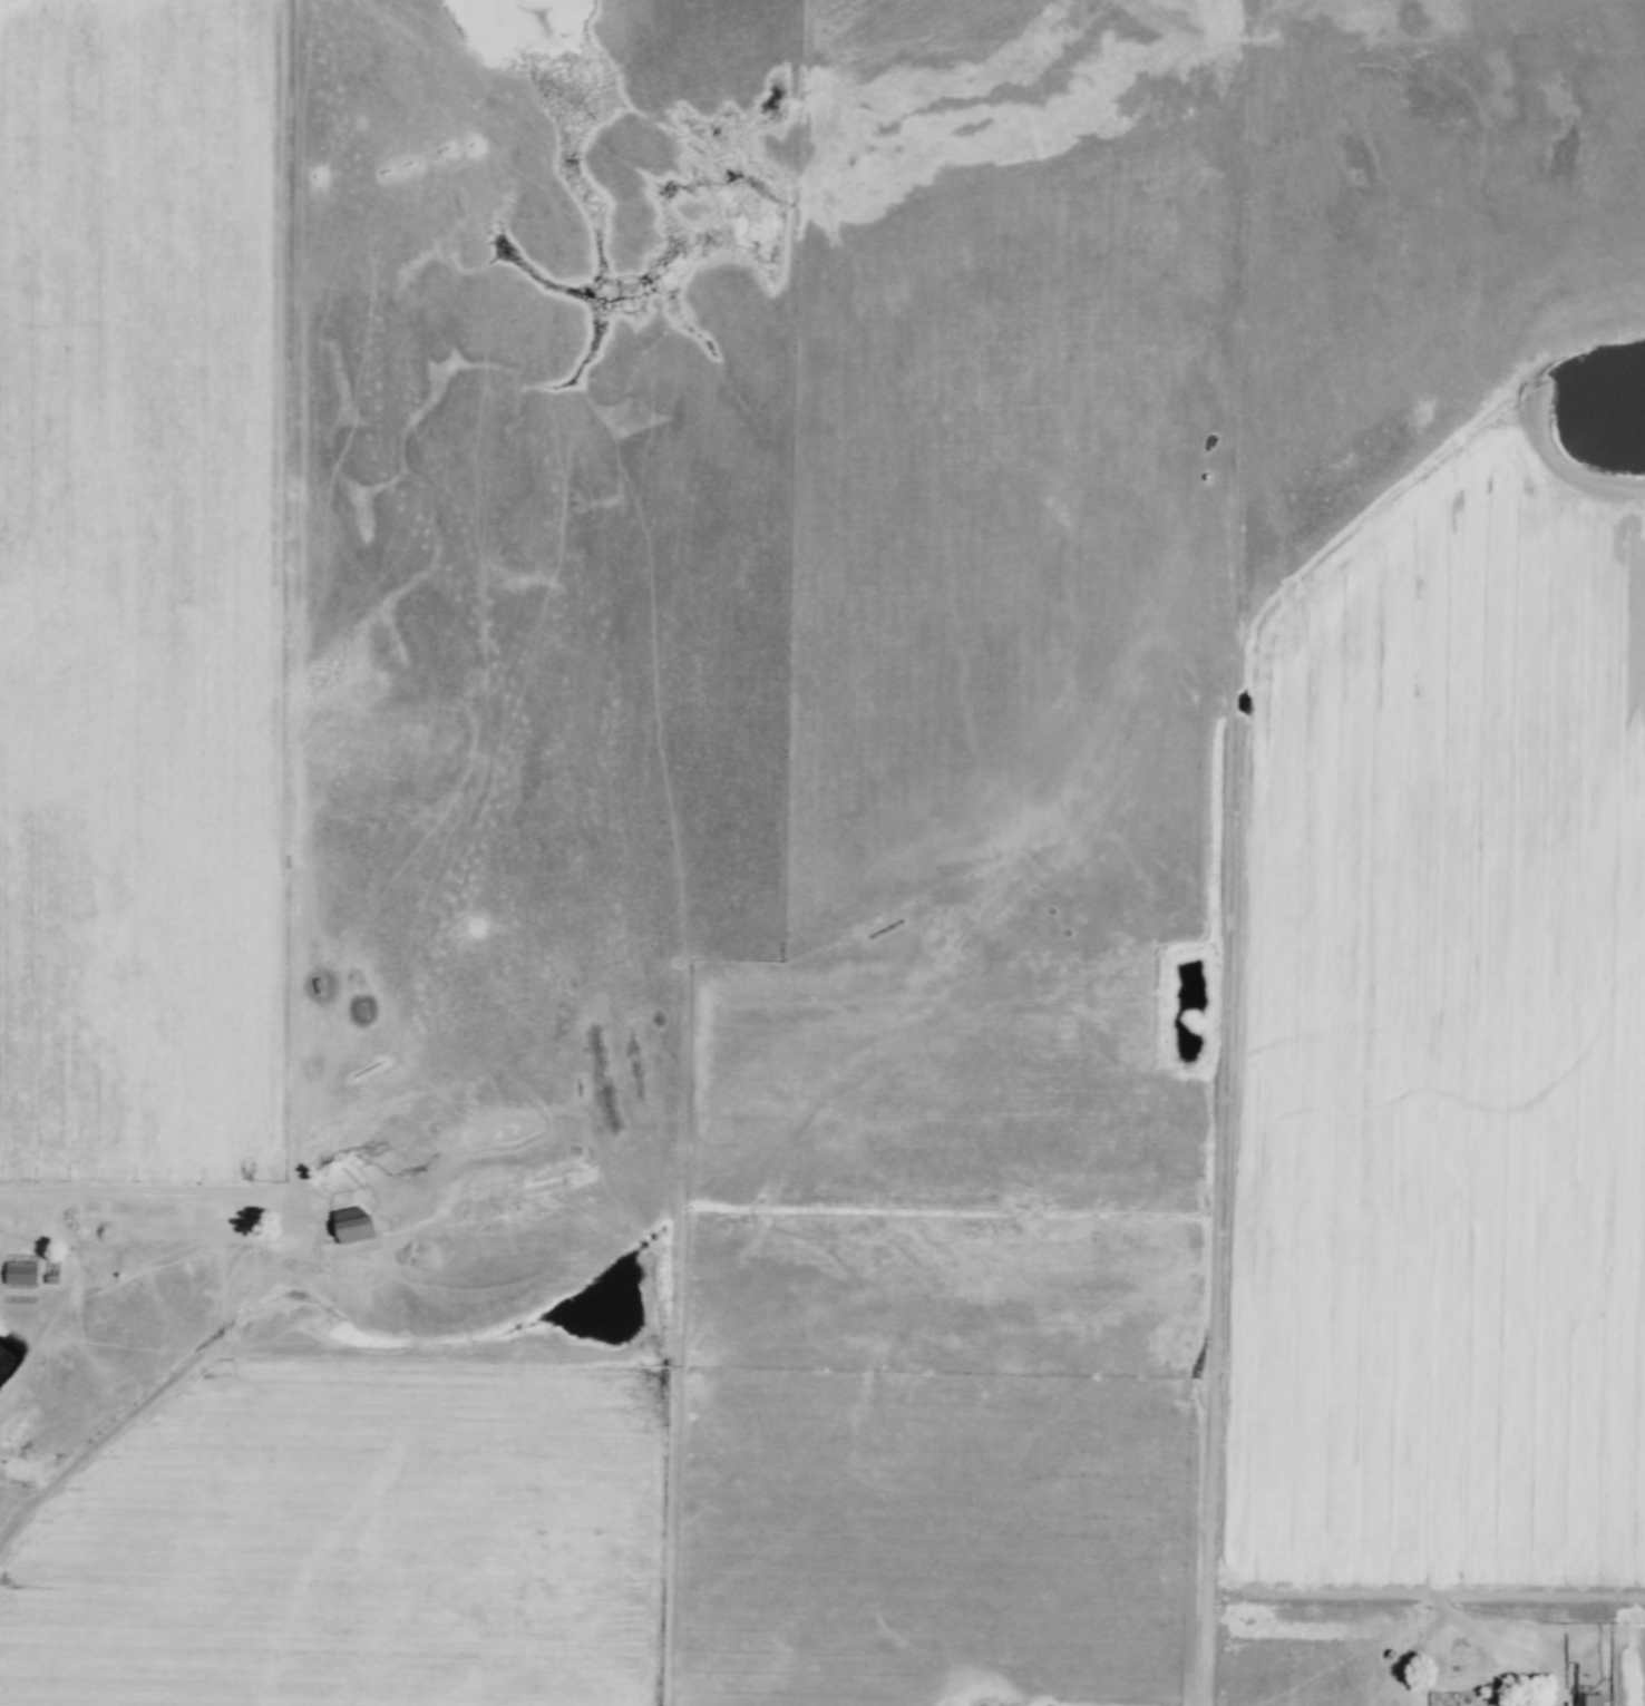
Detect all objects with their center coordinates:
crop: (145, 587)
building: (353, 1225)
crop: (486, 1275)
crop: (948, 1352)
crop: (354, 1536)
building: (1590, 1700)

